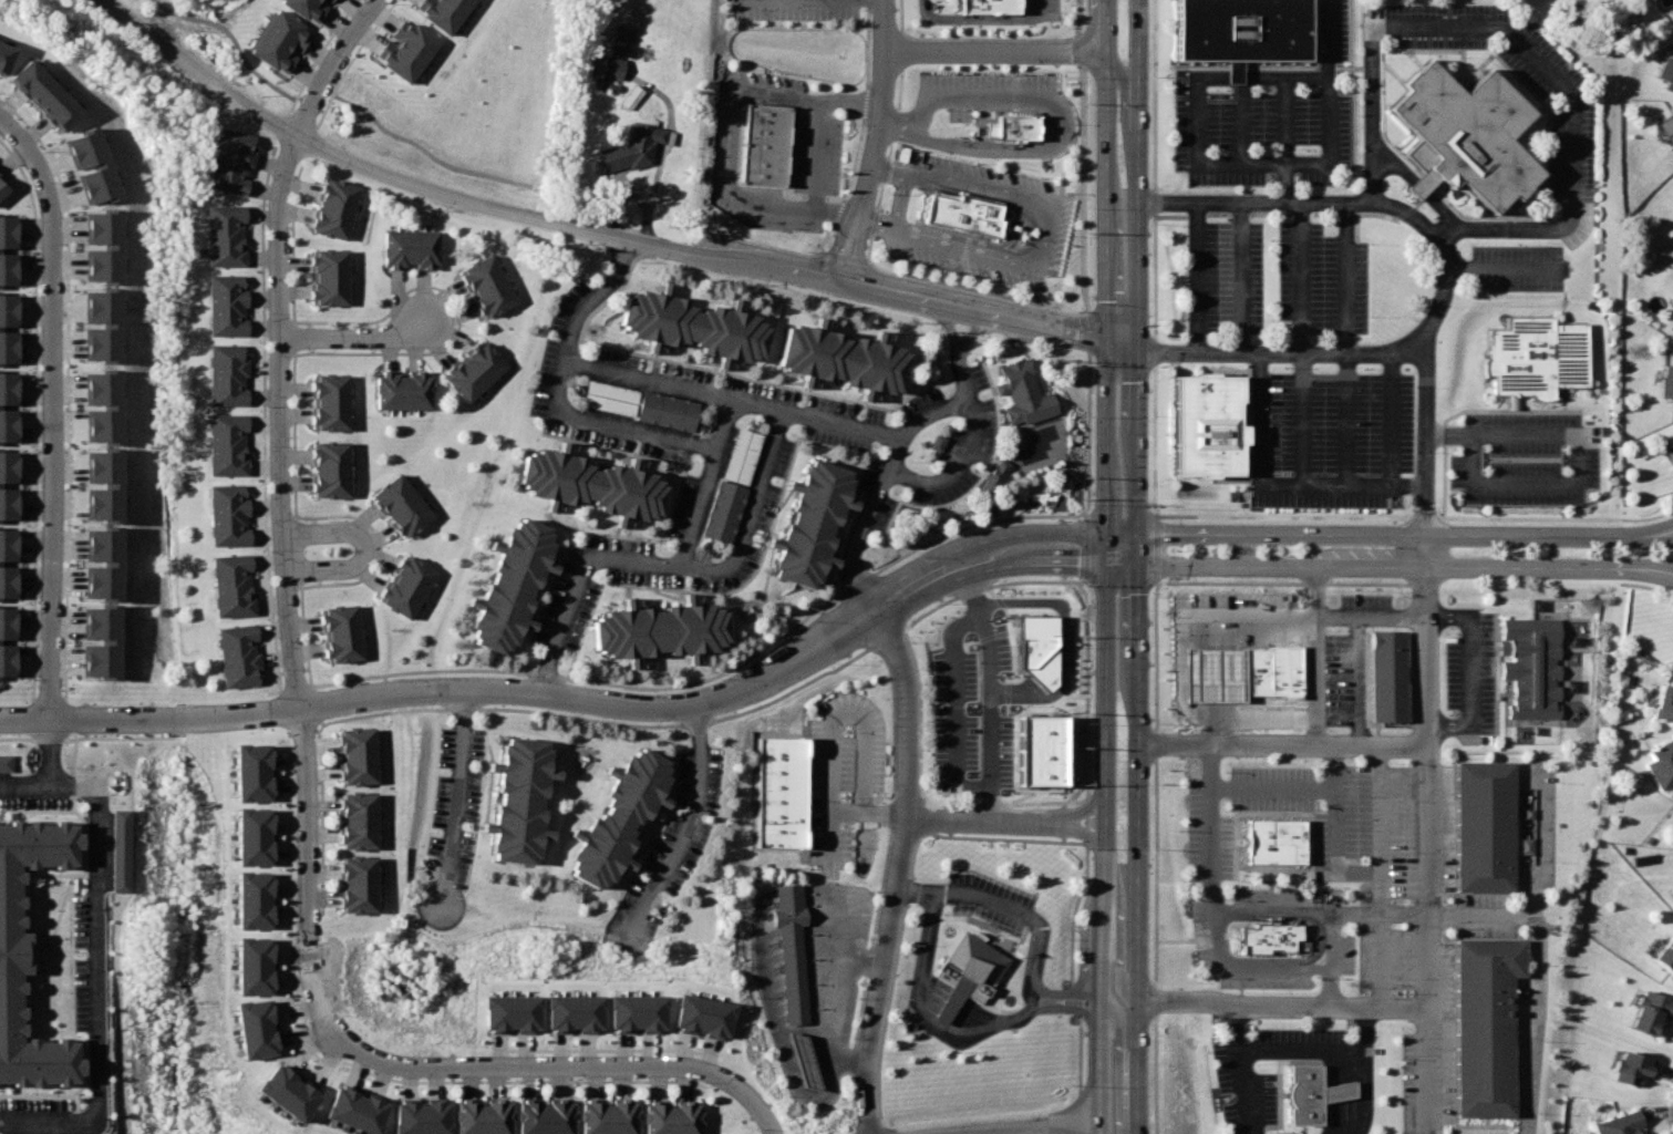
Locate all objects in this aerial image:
building: (331, 0)
building: (988, 6)
building: (304, 7)
parking lot: (803, 9)
building: (443, 10)
parking lot: (1043, 11)
road: (969, 18)
building: (1239, 30)
building: (620, 32)
building: (273, 37)
building: (409, 44)
road: (998, 48)
road: (1522, 48)
building: (3, 53)
building: (611, 66)
building: (1666, 70)
parking lot: (771, 74)
parking lot: (988, 90)
building: (42, 95)
road: (736, 95)
road: (1245, 95)
road: (853, 97)
road: (823, 106)
road: (7, 109)
parking lot: (1268, 116)
road: (1285, 118)
building: (1009, 121)
road: (920, 122)
road: (1332, 127)
road: (1194, 130)
building: (1667, 130)
road: (32, 134)
building: (1462, 136)
building: (764, 138)
road: (875, 142)
parking lot: (819, 145)
road: (988, 147)
building: (633, 151)
road: (13, 158)
building: (87, 162)
building: (230, 162)
road: (1083, 166)
road: (886, 169)
building: (1, 190)
road: (1349, 199)
road: (898, 200)
road: (813, 206)
building: (333, 208)
road: (835, 208)
building: (957, 208)
road: (874, 221)
parking lot: (1051, 226)
road: (597, 229)
road: (1042, 233)
building: (220, 235)
building: (97, 241)
building: (7, 246)
building: (407, 248)
road: (1196, 276)
road: (1239, 276)
road: (1344, 276)
building: (327, 277)
parking lot: (1223, 278)
parking lot: (1322, 279)
building: (485, 283)
building: (220, 305)
building: (95, 321)
building: (692, 321)
building: (7, 324)
road: (354, 338)
traffic signals: (1107, 339)
road: (278, 340)
traffic signals: (1135, 343)
road: (1280, 352)
building: (843, 355)
building: (1536, 357)
building: (469, 371)
building: (220, 375)
building: (1664, 383)
building: (400, 390)
building: (1022, 393)
road: (732, 396)
building: (610, 398)
building: (93, 401)
building: (328, 401)
building: (7, 403)
building: (667, 410)
road: (52, 412)
road: (1345, 417)
road: (1386, 417)
road: (724, 423)
building: (1204, 425)
road: (970, 426)
parking lot: (1329, 437)
building: (220, 445)
building: (1671, 445)
road: (714, 447)
building: (743, 455)
parking lot: (1525, 458)
road: (1572, 460)
building: (327, 467)
building: (992, 476)
building: (93, 480)
building: (6, 481)
road: (1278, 481)
building: (587, 484)
road: (881, 489)
building: (396, 504)
building: (723, 509)
road: (753, 513)
building: (220, 514)
building: (812, 520)
road: (1404, 535)
road: (365, 547)
traffic signals: (1108, 547)
traffic signals: (1139, 547)
building: (6, 559)
building: (95, 559)
road: (1654, 564)
road: (1403, 565)
road: (1138, 566)
road: (1108, 567)
building: (503, 583)
building: (224, 585)
building: (401, 585)
building: (1180, 601)
building: (657, 628)
building: (339, 635)
building: (6, 636)
building: (93, 637)
road: (1315, 654)
building: (235, 659)
building: (1254, 668)
building: (1529, 671)
building: (1388, 673)
road: (994, 688)
road: (732, 693)
building: (1664, 702)
building: (949, 705)
road: (1246, 715)
road: (147, 717)
road: (1427, 735)
road: (1282, 746)
road: (52, 750)
building: (350, 755)
building: (6, 762)
building: (242, 762)
building: (1662, 764)
parking lot: (847, 770)
road: (27, 780)
building: (782, 788)
road: (450, 797)
building: (513, 797)
road: (869, 815)
building: (613, 816)
road: (1010, 819)
building: (352, 821)
building: (1483, 826)
building: (240, 827)
road: (1209, 829)
road: (684, 831)
building: (1268, 839)
building: (117, 849)
road: (900, 870)
parking lot: (1378, 872)
road: (306, 878)
building: (351, 885)
building: (239, 890)
parking lot: (994, 894)
road: (1269, 911)
road: (1428, 914)
road: (1037, 924)
road: (1117, 925)
building: (1266, 938)
road: (1326, 940)
building: (8, 947)
building: (792, 950)
building: (239, 957)
building: (1665, 957)
building: (974, 961)
road: (1245, 967)
road: (101, 977)
road: (1328, 988)
building: (632, 1006)
road: (1281, 1006)
building: (504, 1007)
road: (839, 1007)
building: (569, 1008)
building: (699, 1009)
building: (1652, 1011)
road: (923, 1017)
building: (244, 1020)
building: (1484, 1021)
road: (1528, 1024)
building: (806, 1061)
road: (1119, 1063)
building: (1632, 1065)
road: (565, 1066)
road: (1230, 1066)
road: (1361, 1072)
building: (275, 1082)
building: (1305, 1092)
building: (345, 1102)
building: (411, 1111)
building: (476, 1113)
building: (665, 1113)
building: (539, 1114)
building: (601, 1114)
building: (1621, 1124)
road: (1037, 1125)
building: (1645, 1133)

